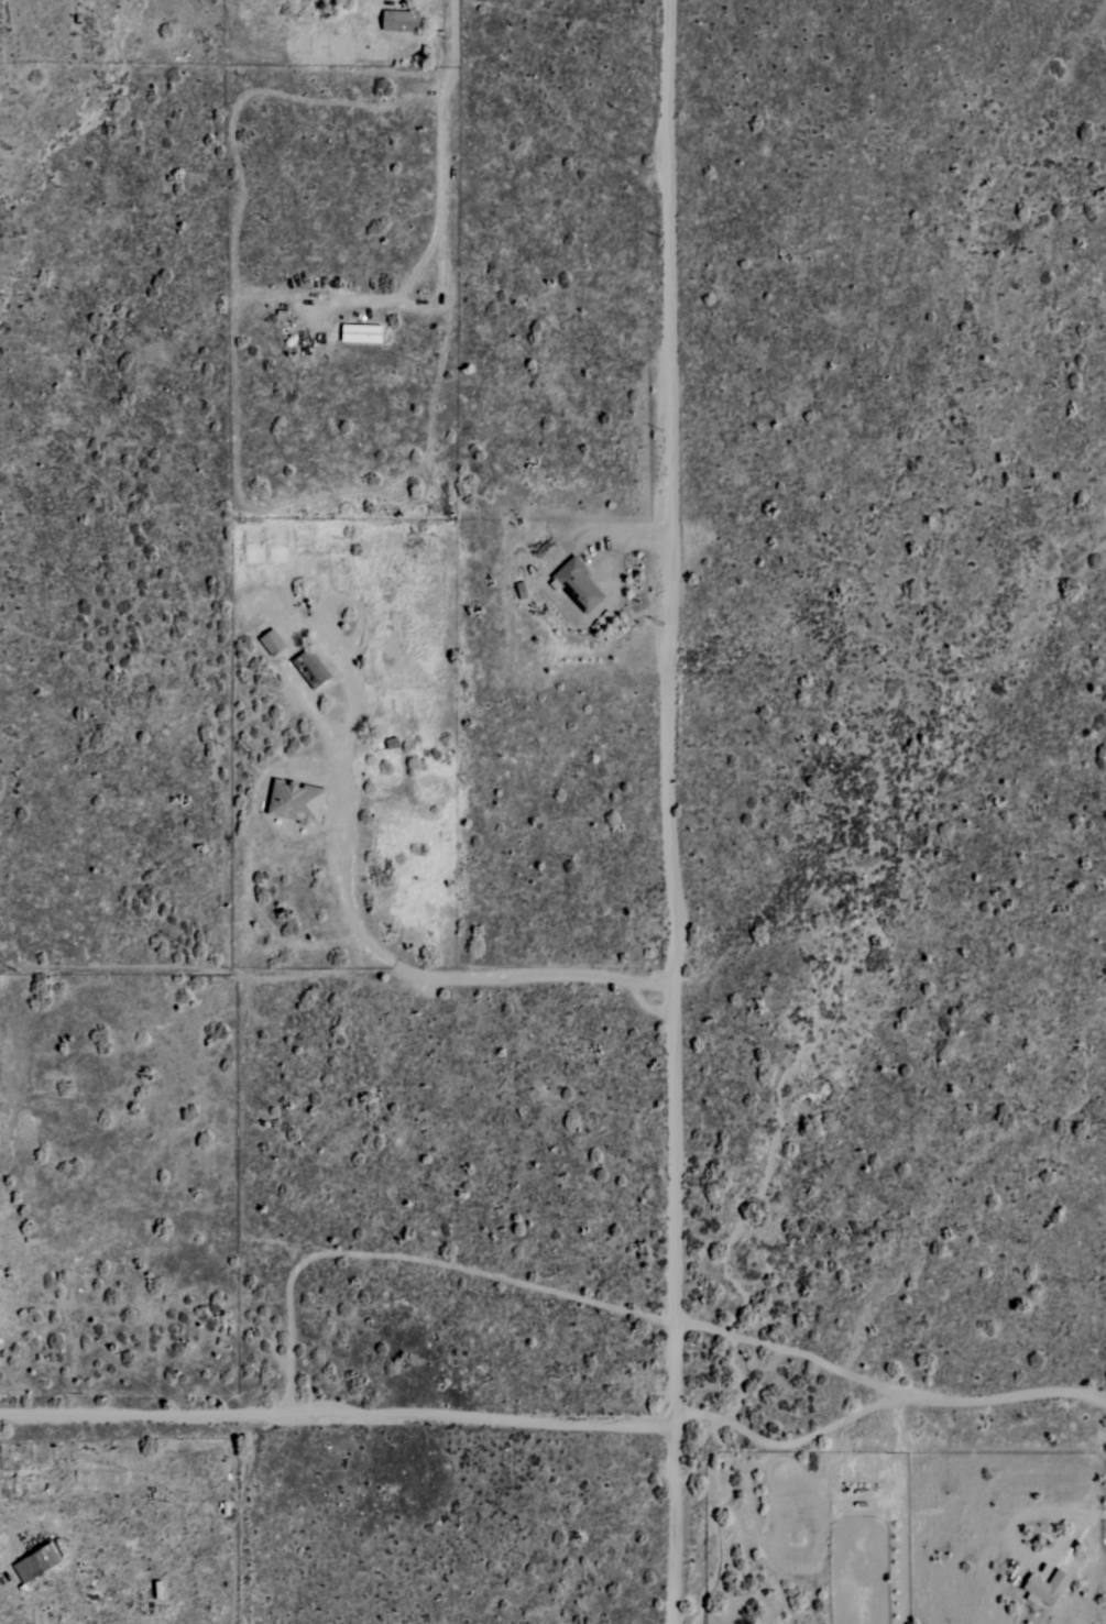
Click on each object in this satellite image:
road: (387, 2)
building: (398, 21)
road: (442, 196)
building: (253, 556)
building: (576, 585)
building: (271, 641)
building: (295, 805)
road: (670, 812)
road: (431, 978)
road: (565, 1425)
road: (1091, 1507)
road: (1006, 1537)
building: (1045, 1588)

